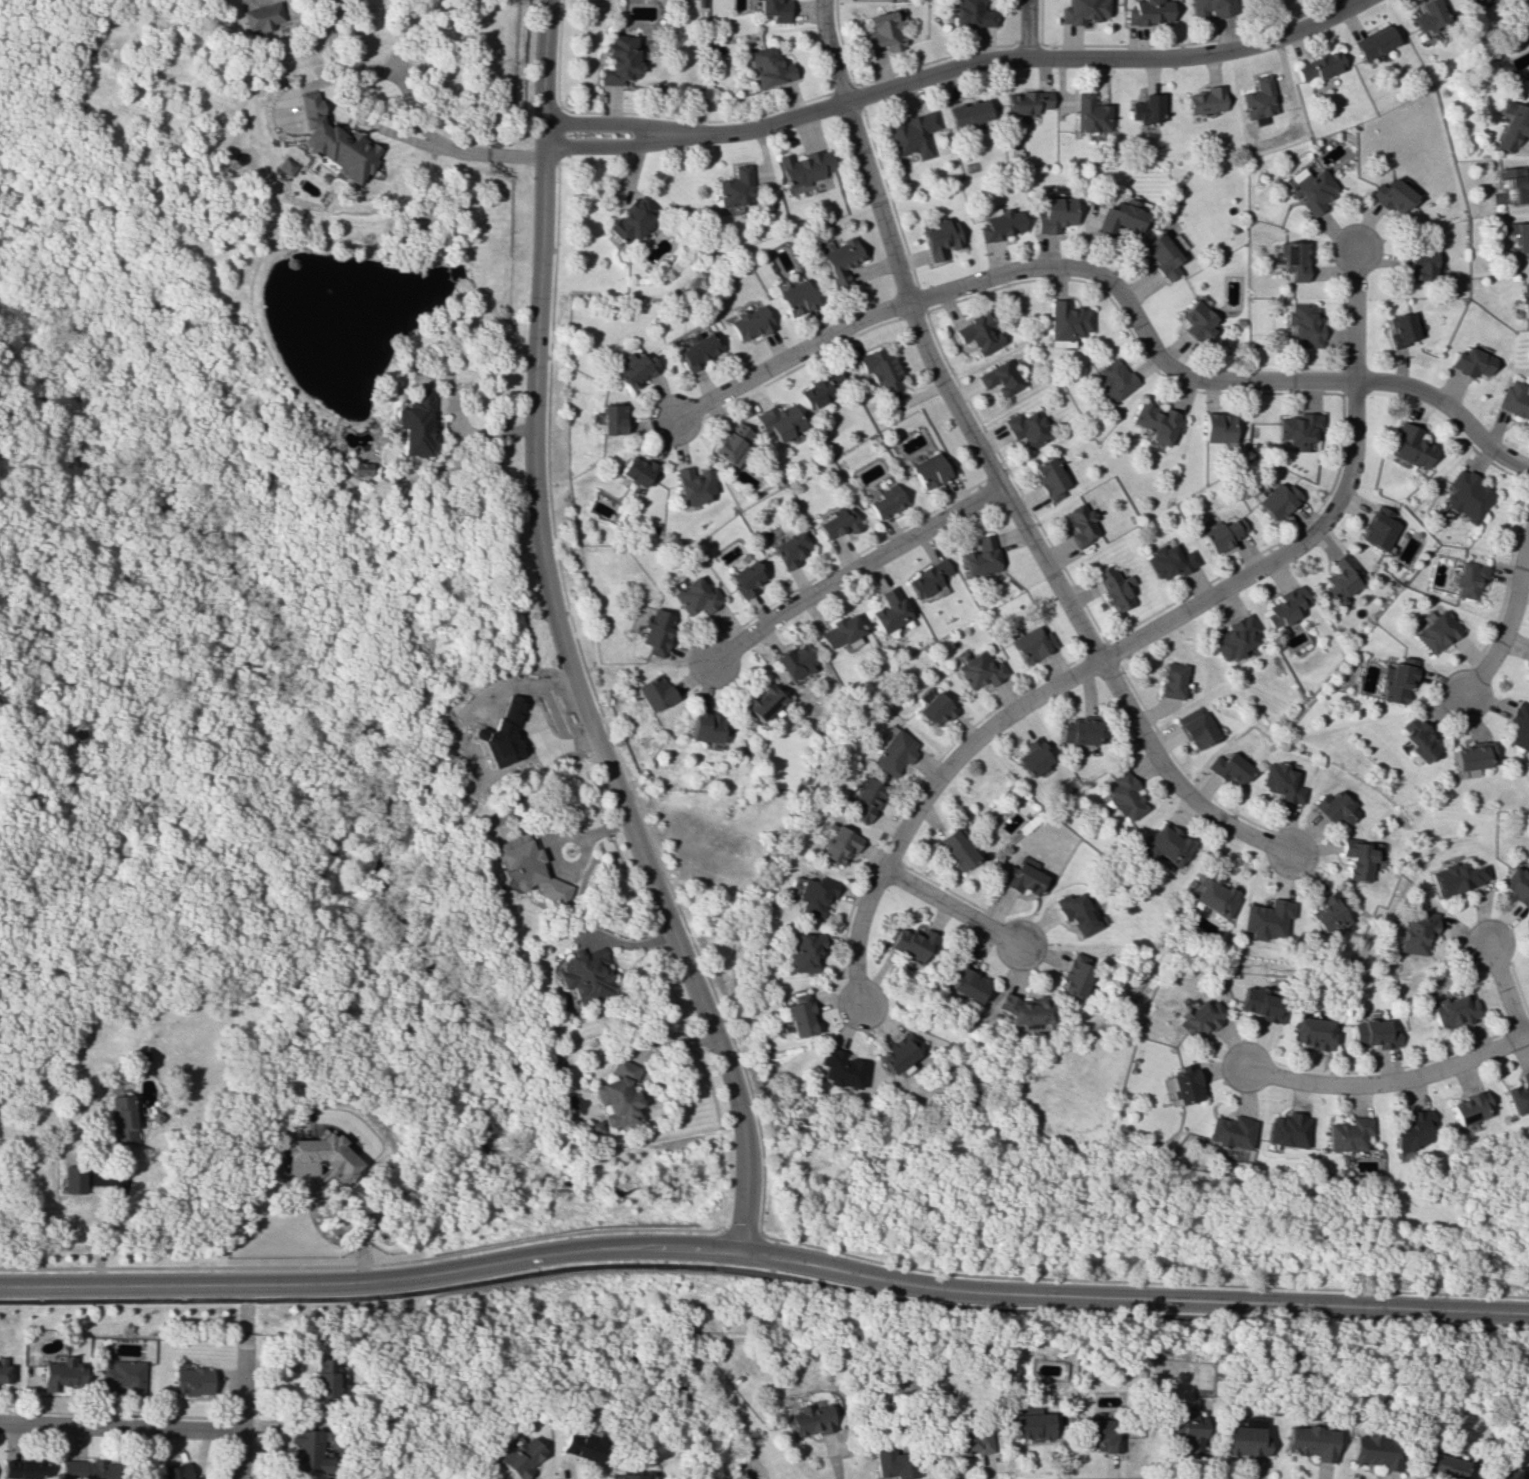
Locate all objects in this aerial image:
road: (1348, 2)
building: (1473, 2)
building: (1209, 7)
building: (775, 9)
building: (1080, 11)
building: (1146, 12)
building: (972, 13)
building: (262, 16)
building: (1428, 16)
road: (1025, 28)
building: (882, 31)
building: (1375, 42)
road: (1036, 57)
building: (621, 60)
building: (769, 66)
building: (1320, 66)
road: (558, 74)
building: (1205, 100)
building: (1259, 100)
building: (1026, 102)
building: (1144, 108)
building: (968, 113)
building: (1089, 114)
road: (362, 117)
road: (628, 124)
building: (1511, 125)
building: (913, 134)
building: (332, 143)
road: (628, 147)
building: (284, 166)
building: (804, 167)
building: (1509, 186)
building: (736, 187)
building: (1311, 188)
building: (1391, 195)
building: (1054, 214)
building: (1125, 216)
building: (631, 219)
building: (1000, 225)
building: (1519, 235)
building: (939, 238)
building: (1160, 254)
building: (839, 260)
building: (1292, 260)
building: (1420, 264)
road: (1115, 288)
building: (795, 297)
building: (1524, 299)
building: (1198, 319)
building: (1067, 321)
building: (749, 322)
building: (1304, 323)
building: (1399, 329)
building: (978, 334)
building: (694, 349)
building: (1470, 362)
building: (634, 367)
building: (880, 370)
building: (1001, 377)
building: (1114, 379)
building: (819, 389)
building: (1515, 399)
building: (612, 418)
building: (779, 421)
building: (1156, 422)
building: (413, 424)
road: (456, 426)
building: (1028, 427)
building: (1217, 427)
building: (1298, 427)
building: (734, 443)
building: (1411, 446)
building: (359, 468)
road: (992, 468)
building: (638, 470)
building: (932, 470)
building: (1050, 478)
building: (694, 484)
building: (1466, 495)
building: (1276, 500)
building: (886, 502)
building: (839, 522)
building: (1081, 524)
building: (1378, 528)
building: (1224, 533)
building: (792, 548)
building: (981, 557)
building: (1170, 560)
road: (854, 571)
building: (1342, 577)
building: (748, 578)
building: (928, 579)
building: (1465, 579)
road: (548, 583)
building: (1114, 587)
building: (697, 596)
building: (1285, 606)
building: (890, 610)
road: (1508, 620)
building: (1435, 631)
building: (657, 632)
building: (841, 632)
building: (1235, 637)
road: (1138, 638)
building: (1032, 644)
building: (795, 660)
building: (980, 670)
building: (1527, 672)
building: (1395, 679)
building: (1172, 680)
building: (654, 692)
building: (762, 701)
building: (936, 709)
building: (1518, 726)
building: (705, 727)
building: (1198, 730)
building: (1077, 732)
building: (1416, 739)
building: (894, 752)
building: (1469, 756)
building: (1033, 757)
building: (1230, 768)
building: (1283, 782)
building: (1124, 795)
building: (866, 800)
building: (1335, 807)
building: (839, 844)
building: (1164, 845)
building: (956, 849)
building: (1357, 860)
building: (526, 868)
building: (1021, 876)
building: (1454, 878)
building: (1514, 886)
building: (813, 895)
road: (952, 906)
building: (1076, 912)
building: (1326, 913)
building: (1263, 919)
building: (1413, 931)
building: (911, 944)
building: (803, 951)
building: (1073, 975)
building: (585, 976)
building: (966, 984)
road: (1504, 989)
building: (1262, 1004)
building: (1452, 1011)
building: (1025, 1012)
building: (798, 1015)
building: (1200, 1018)
building: (1312, 1032)
building: (1373, 1033)
building: (896, 1052)
building: (838, 1068)
building: (1182, 1084)
road: (1389, 1084)
building: (1520, 1094)
building: (618, 1095)
building: (1468, 1108)
building: (122, 1119)
building: (1411, 1129)
building: (1287, 1130)
building: (1229, 1132)
building: (1347, 1134)
building: (324, 1154)
building: (74, 1178)
road: (743, 1194)
road: (113, 1221)
road: (344, 1230)
road: (765, 1236)
road: (764, 1258)
road: (764, 1274)
building: (4, 1370)
building: (62, 1374)
building: (122, 1376)
building: (193, 1380)
road: (240, 1417)
building: (811, 1418)
building: (1248, 1421)
building: (1031, 1425)
road: (120, 1427)
building: (1184, 1431)
building: (1097, 1433)
building: (971, 1441)
building: (1243, 1441)
building: (1309, 1442)
building: (580, 1446)
building: (304, 1451)
building: (1374, 1451)
building: (519, 1456)
building: (893, 1464)
building: (1436, 1466)
building: (23, 1469)
building: (89, 1469)
building: (176, 1471)
building: (1501, 1473)
building: (157, 1475)
building: (628, 1476)

